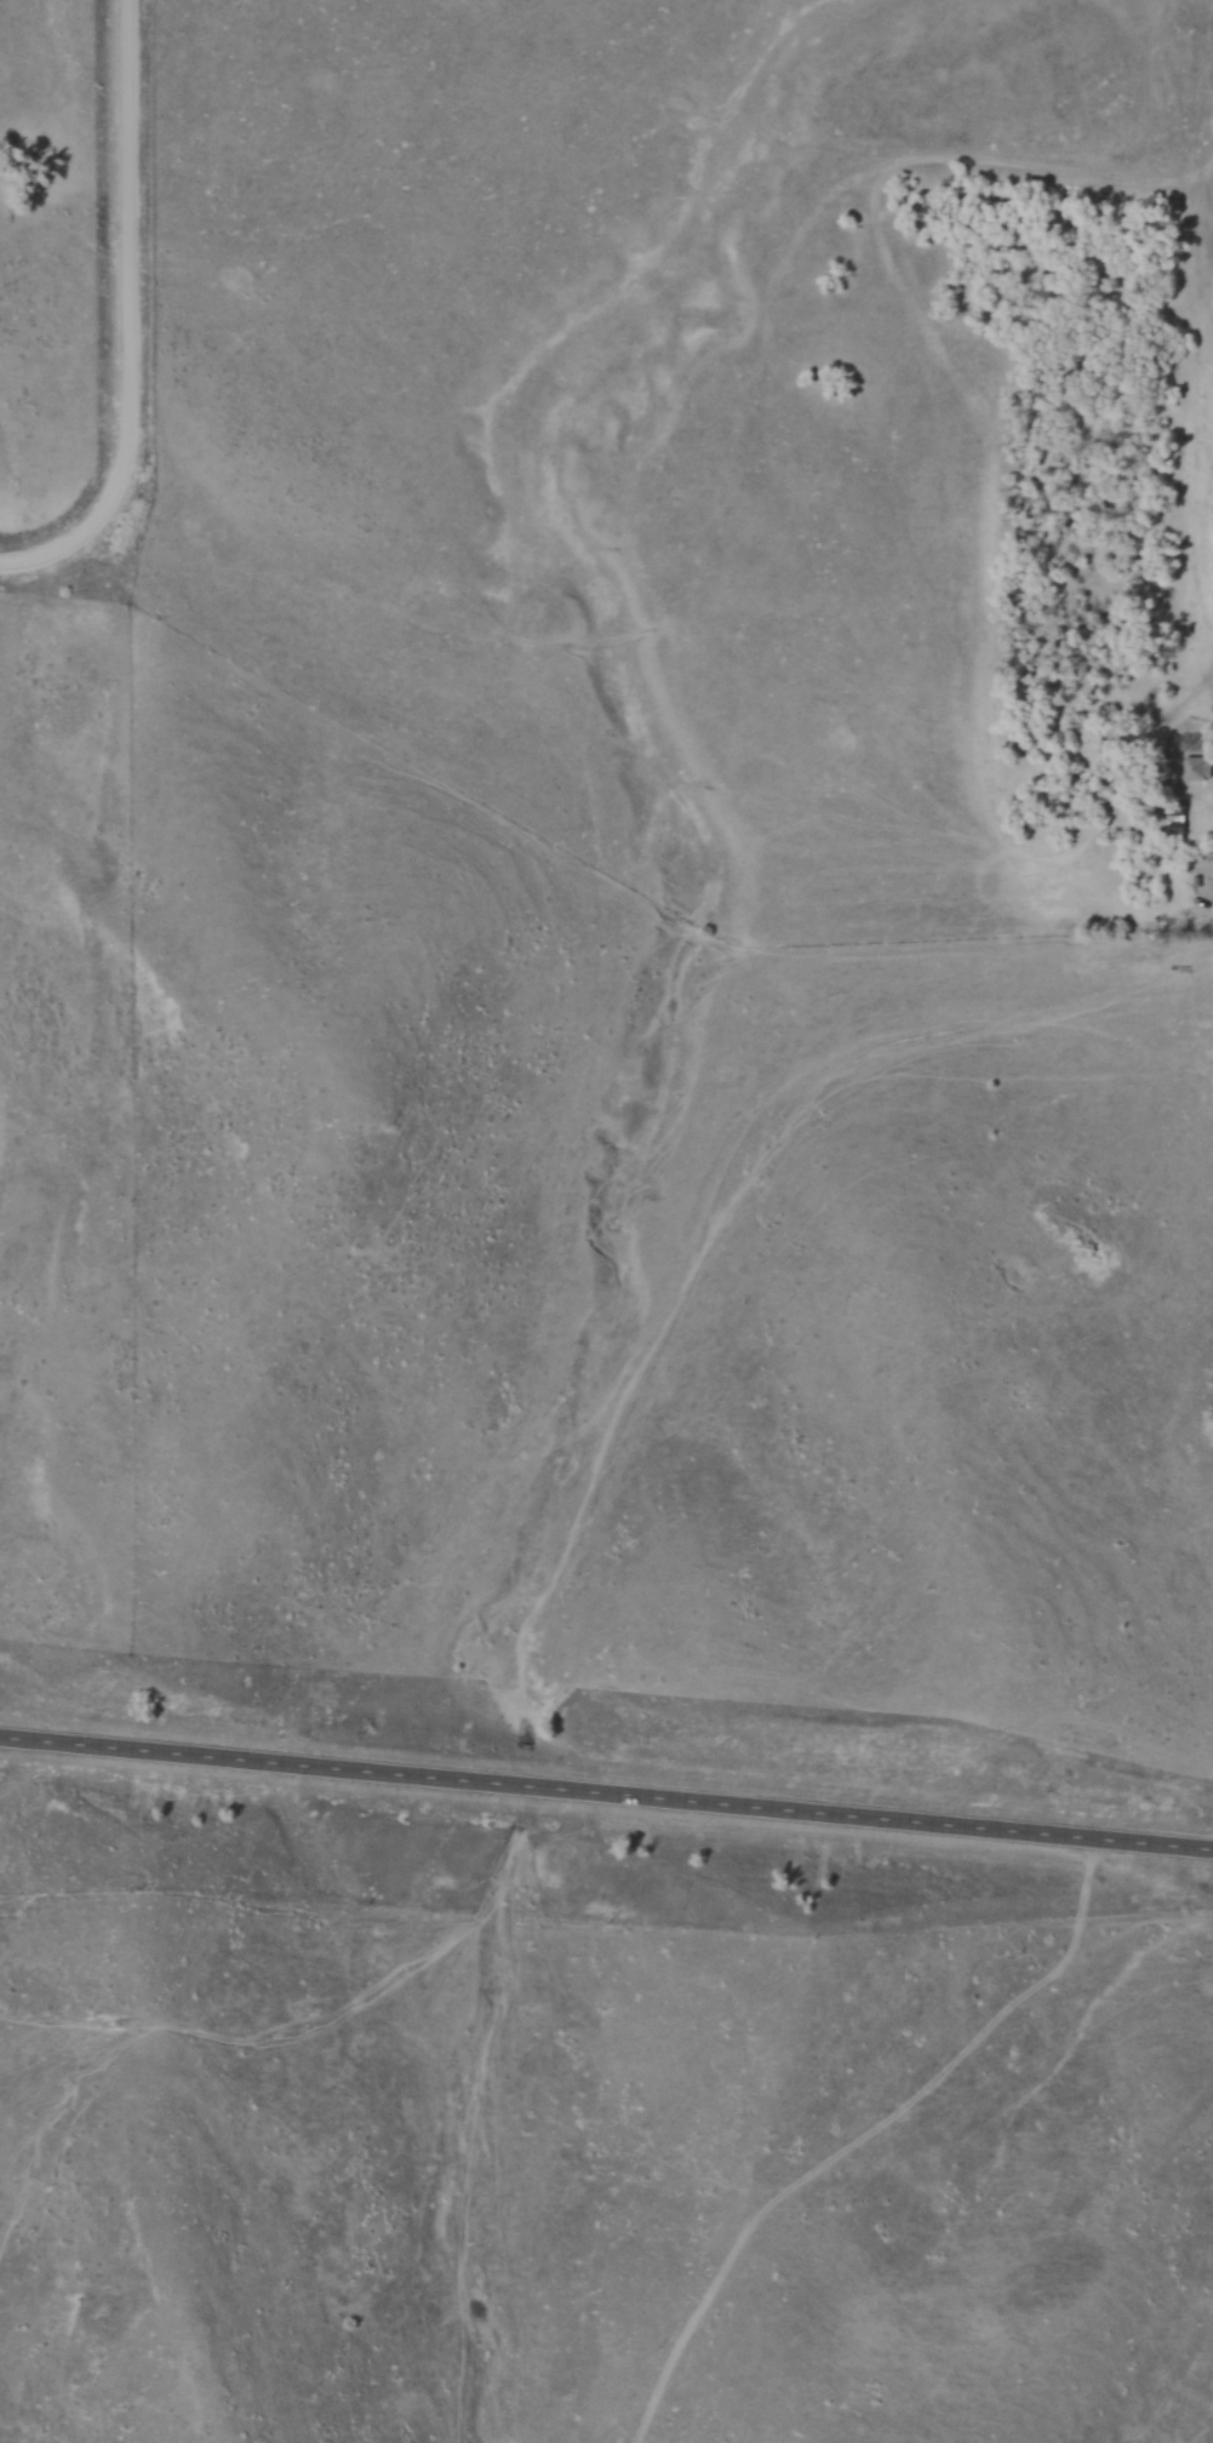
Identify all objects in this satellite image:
road: (137, 322)
building: (1197, 767)
building: (1175, 816)
road: (606, 1796)

